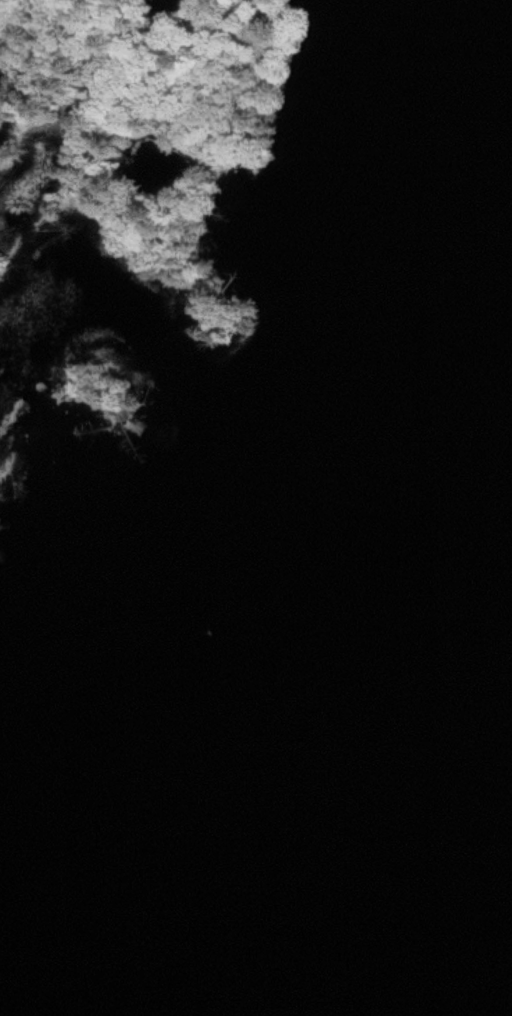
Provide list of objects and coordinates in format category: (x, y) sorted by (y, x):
road: (158, 56)
park: (128, 214)

